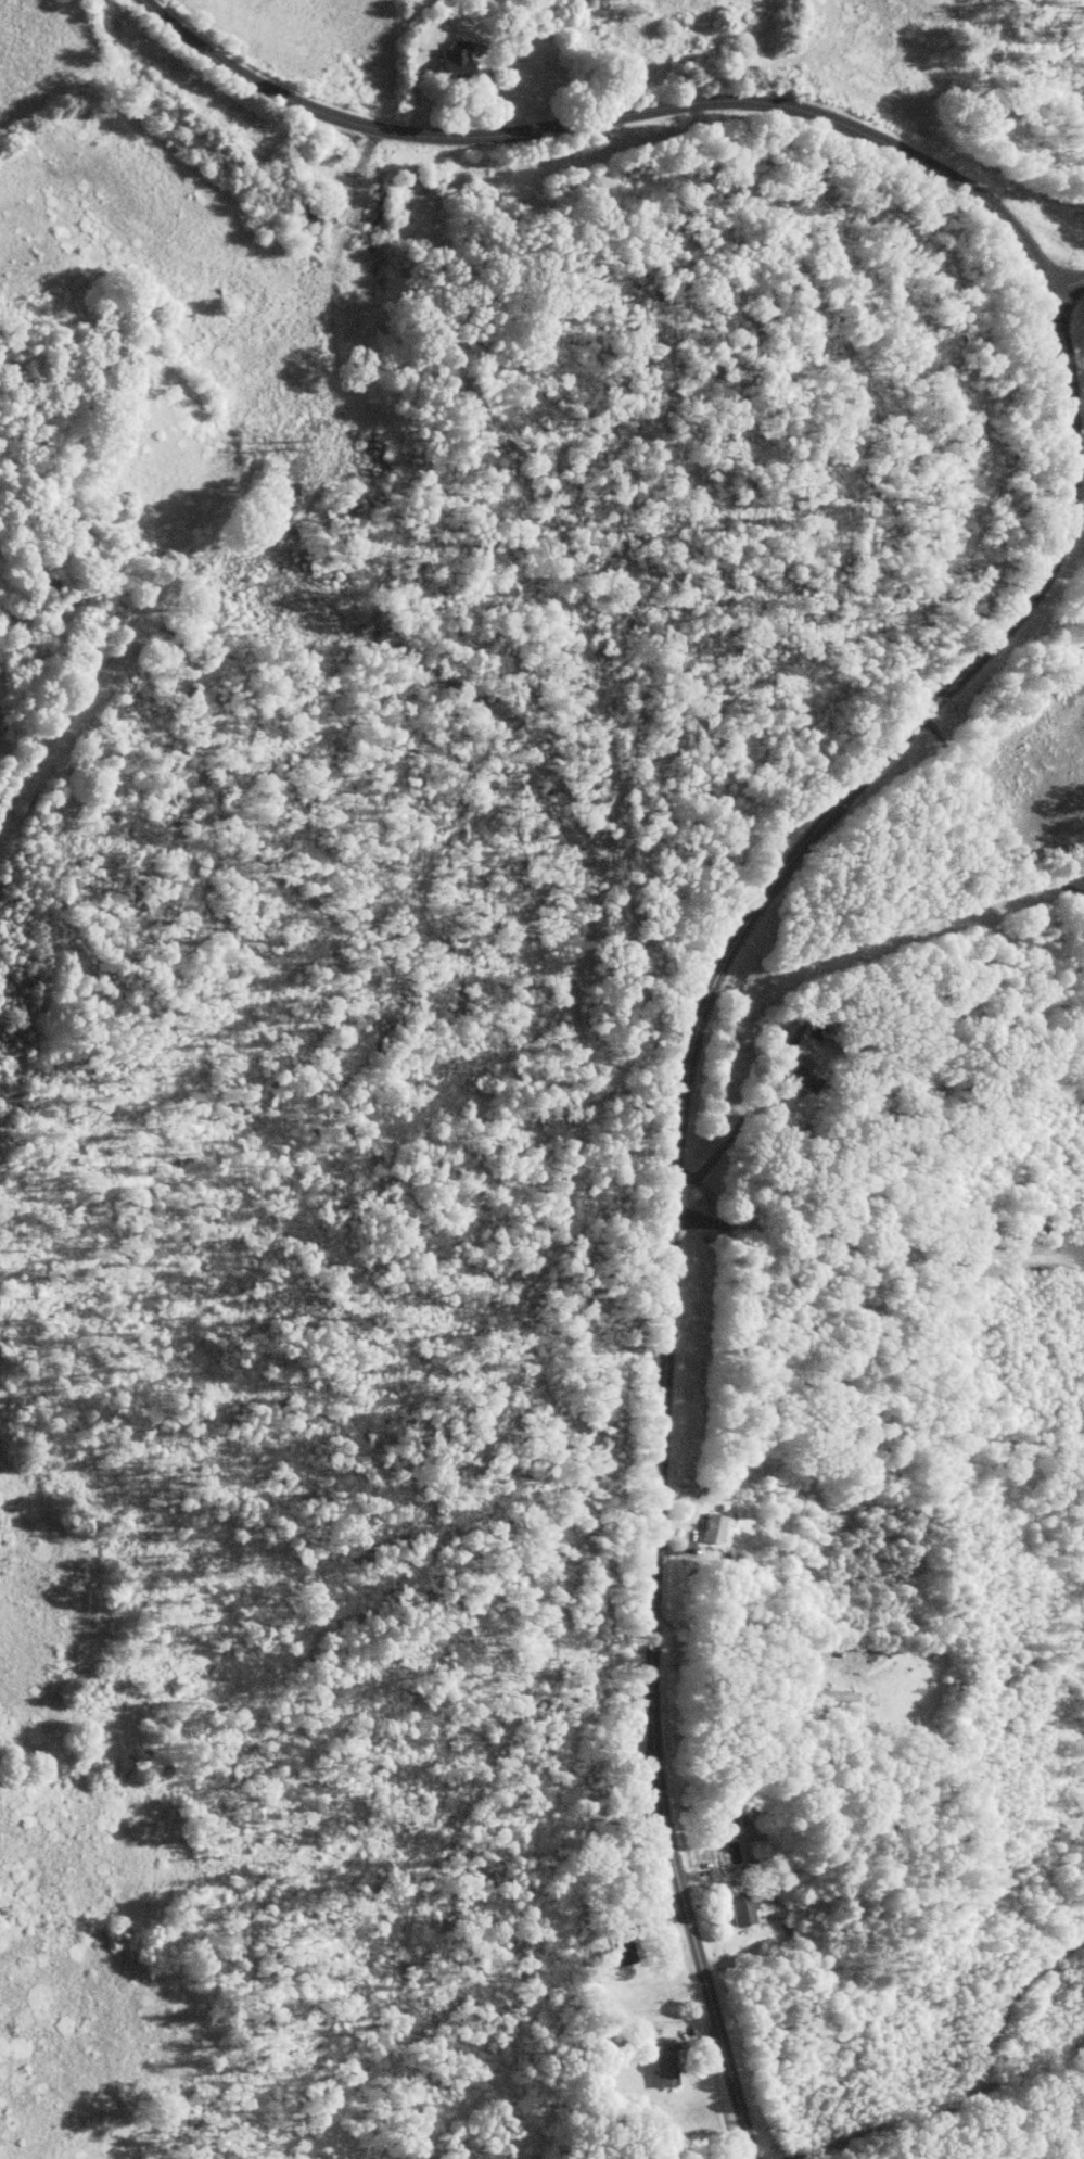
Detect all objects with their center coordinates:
building: (450, 60)
road: (1064, 287)
road: (907, 731)
building: (795, 1068)
road: (739, 1123)
building: (712, 1527)
road: (749, 1624)
building: (740, 1909)
building: (664, 2065)

